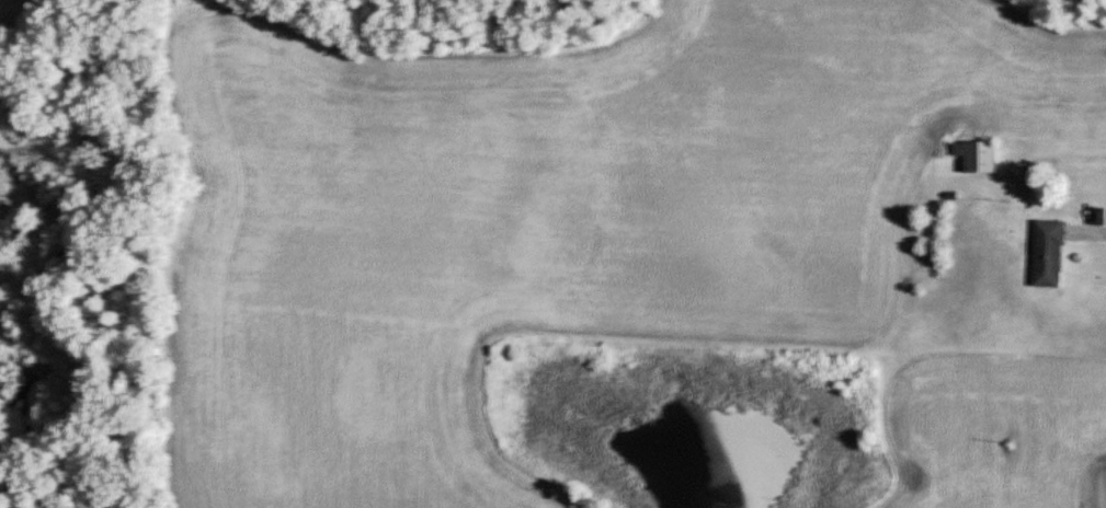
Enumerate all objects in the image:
building: (979, 154)
building: (1049, 253)

